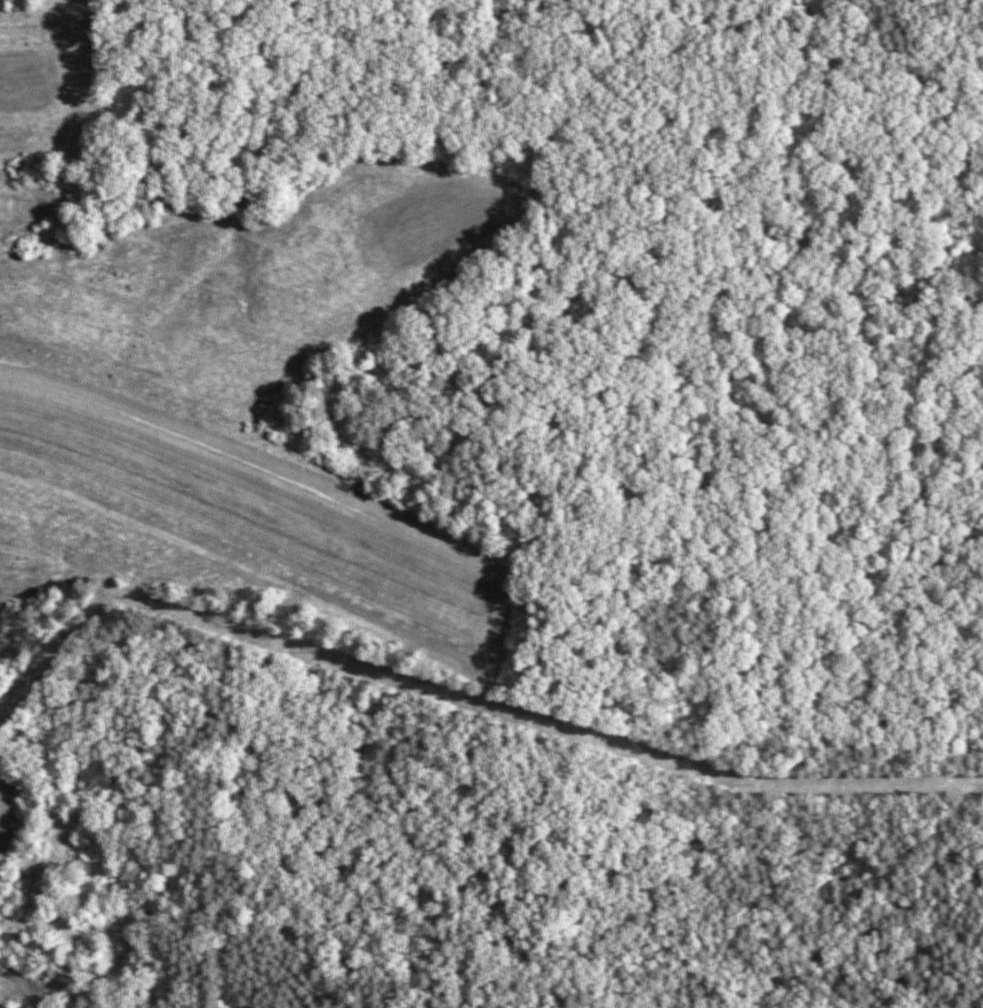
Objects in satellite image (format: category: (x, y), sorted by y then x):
road: (741, 832)
road: (49, 992)
building: (5, 996)
road: (292, 1002)

